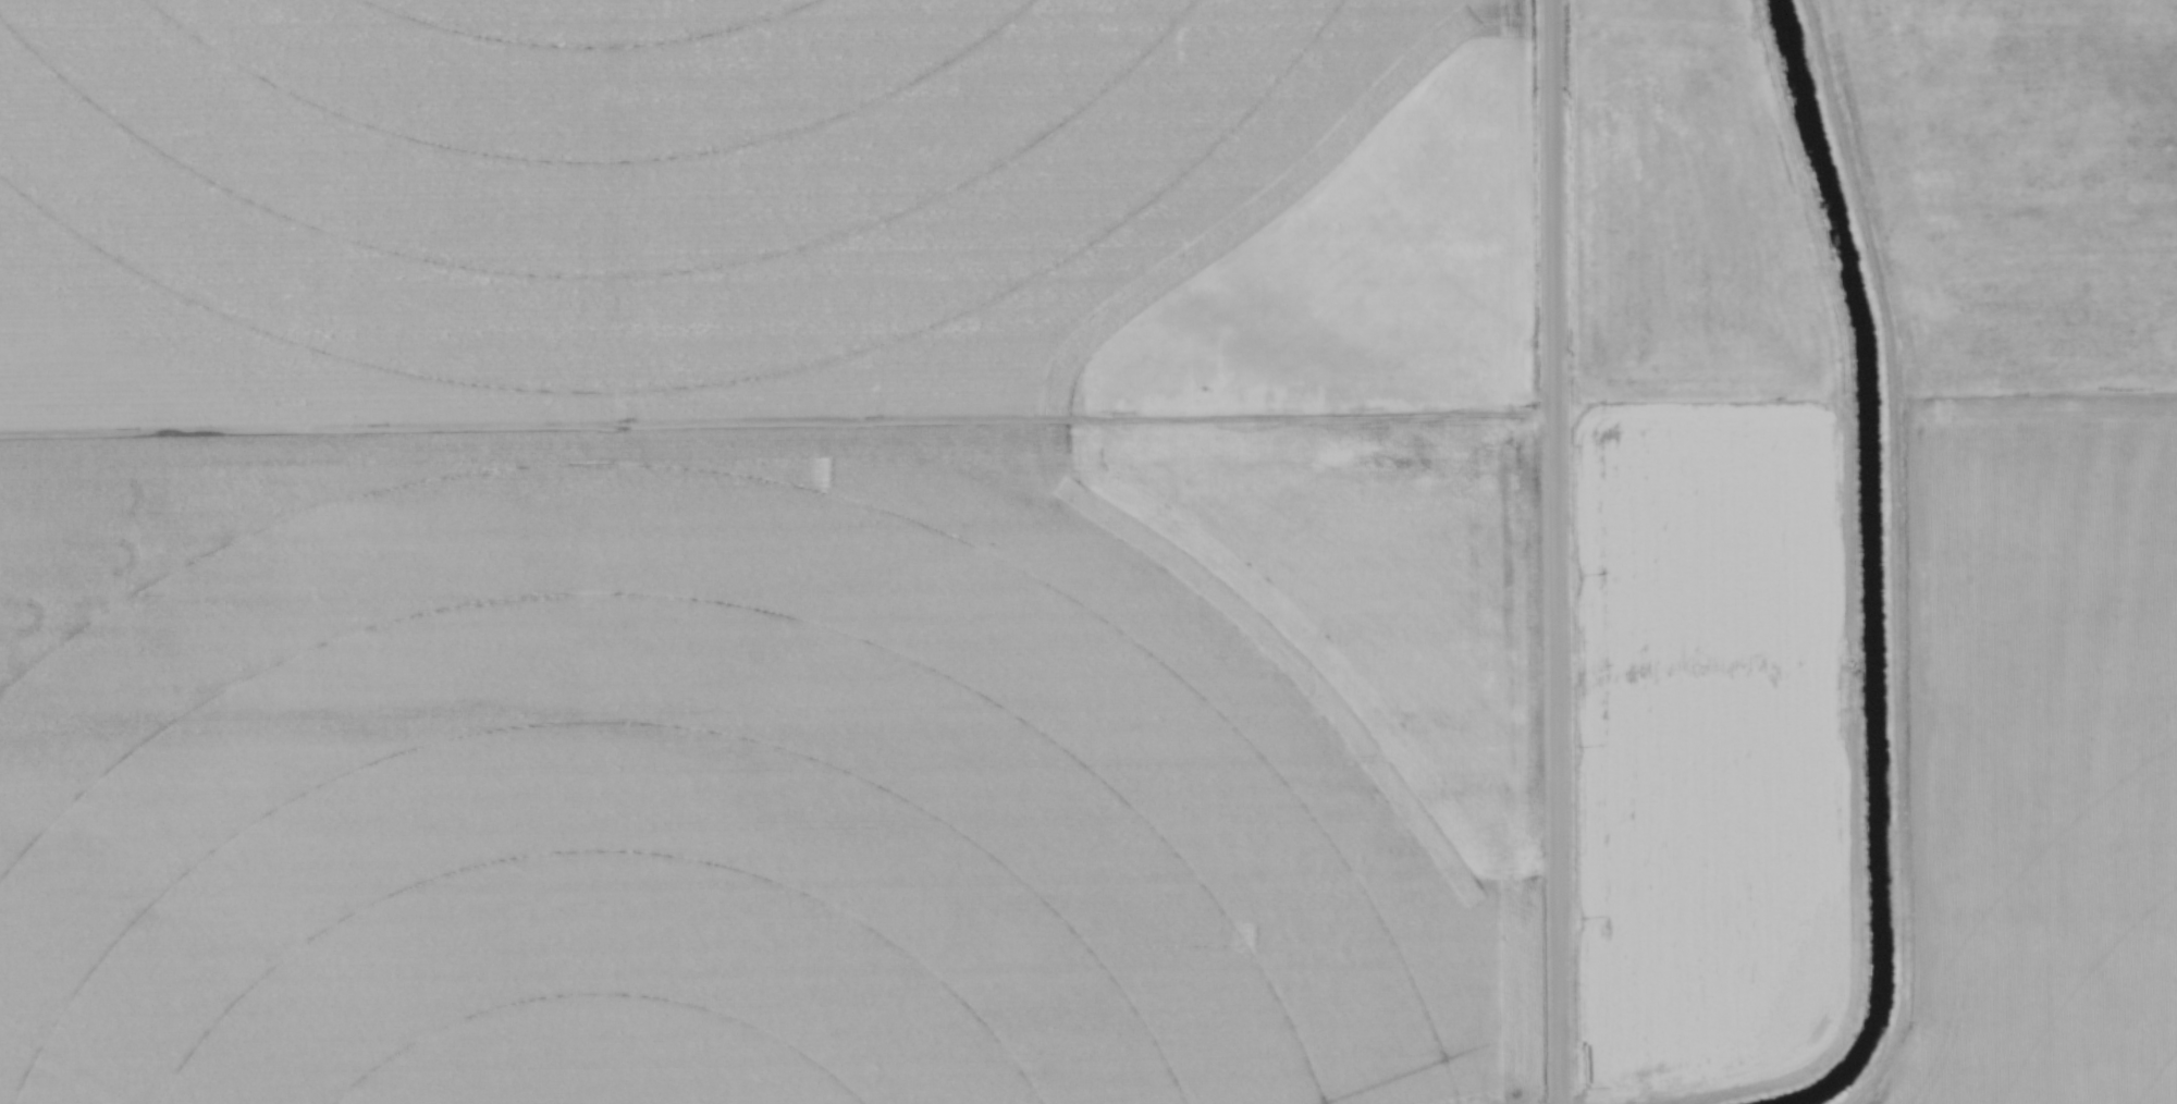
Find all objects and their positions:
crop: (2032, 525)
road: (1554, 551)
crop: (766, 552)
crop: (1699, 565)

